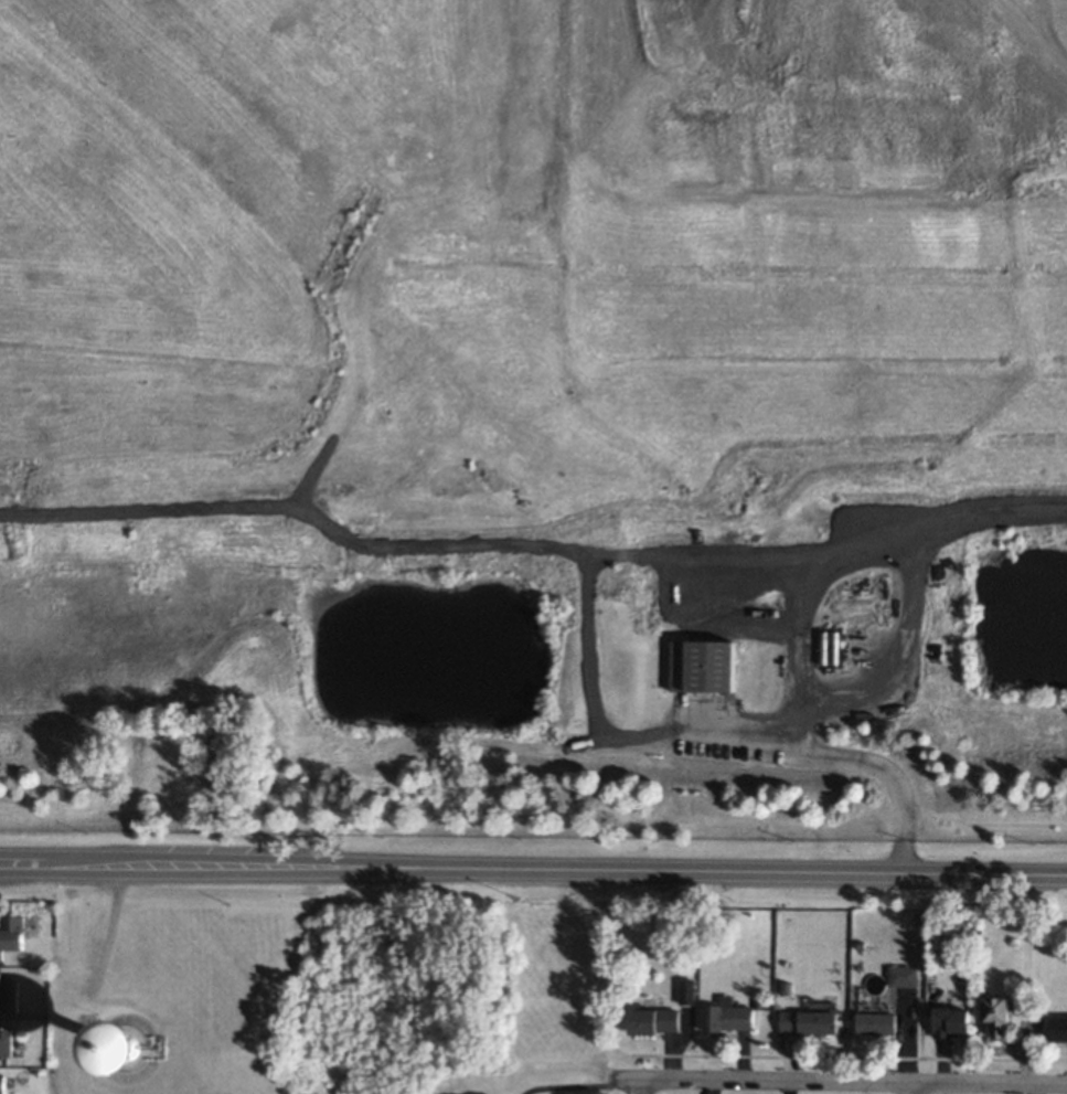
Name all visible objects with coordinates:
landfill: (530, 284)
road: (811, 587)
road: (904, 601)
building: (702, 666)
road: (849, 758)
road: (533, 869)
building: (12, 933)
building: (906, 975)
building: (689, 990)
building: (9, 995)
building: (729, 1016)
building: (1000, 1017)
building: (654, 1020)
building: (811, 1021)
building: (954, 1021)
building: (879, 1022)
building: (1059, 1028)
building: (8, 1041)
water tower: (122, 1047)
building: (126, 1047)
road: (841, 1082)
building: (3, 1083)
road: (642, 1086)
road: (918, 1088)

